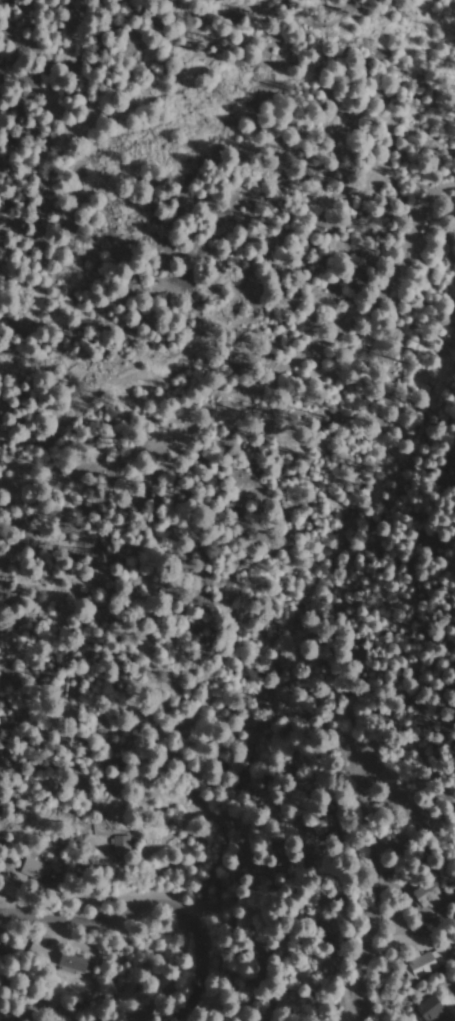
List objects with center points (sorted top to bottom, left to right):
road: (188, 864)
building: (38, 871)
building: (428, 895)
building: (0, 945)
building: (76, 962)
building: (427, 964)
building: (433, 1008)

